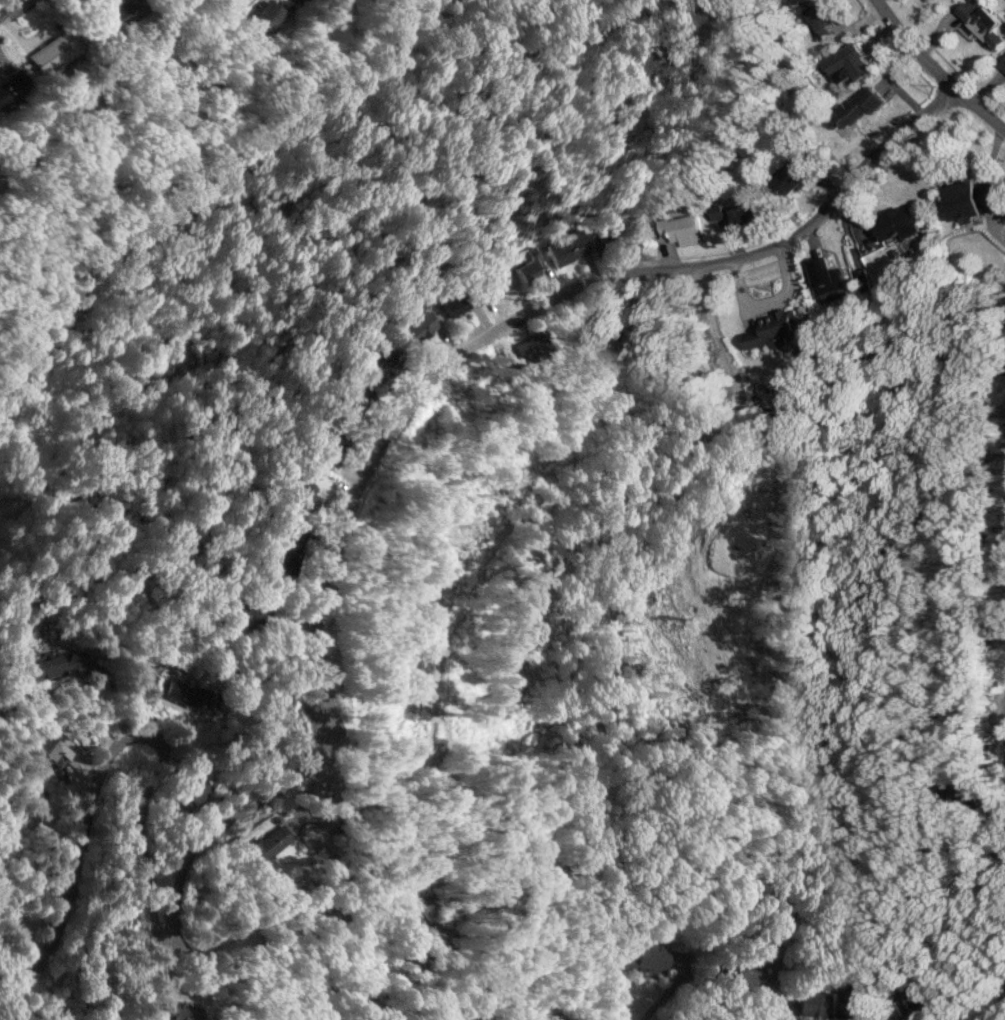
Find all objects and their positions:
road: (11, 7)
building: (123, 11)
building: (271, 13)
building: (821, 14)
building: (981, 21)
building: (54, 50)
building: (848, 63)
building: (1002, 64)
road: (937, 72)
building: (10, 83)
building: (855, 107)
building: (794, 177)
building: (971, 198)
building: (717, 212)
building: (747, 213)
building: (898, 223)
building: (682, 228)
building: (606, 235)
building: (566, 247)
building: (523, 268)
building: (828, 279)
building: (492, 282)
building: (453, 302)
building: (419, 325)
building: (774, 329)
building: (587, 332)
building: (530, 345)
building: (381, 367)
road: (416, 394)
building: (357, 399)
building: (305, 495)
building: (239, 615)
road: (184, 664)
building: (54, 665)
building: (189, 693)
road: (984, 749)
building: (55, 752)
building: (191, 793)
building: (267, 846)
road: (138, 847)
road: (72, 858)
building: (628, 955)
building: (650, 957)
building: (749, 970)
road: (656, 996)
road: (724, 1003)
building: (913, 1003)
building: (828, 1004)
building: (177, 1011)
road: (998, 1014)
road: (786, 1017)

